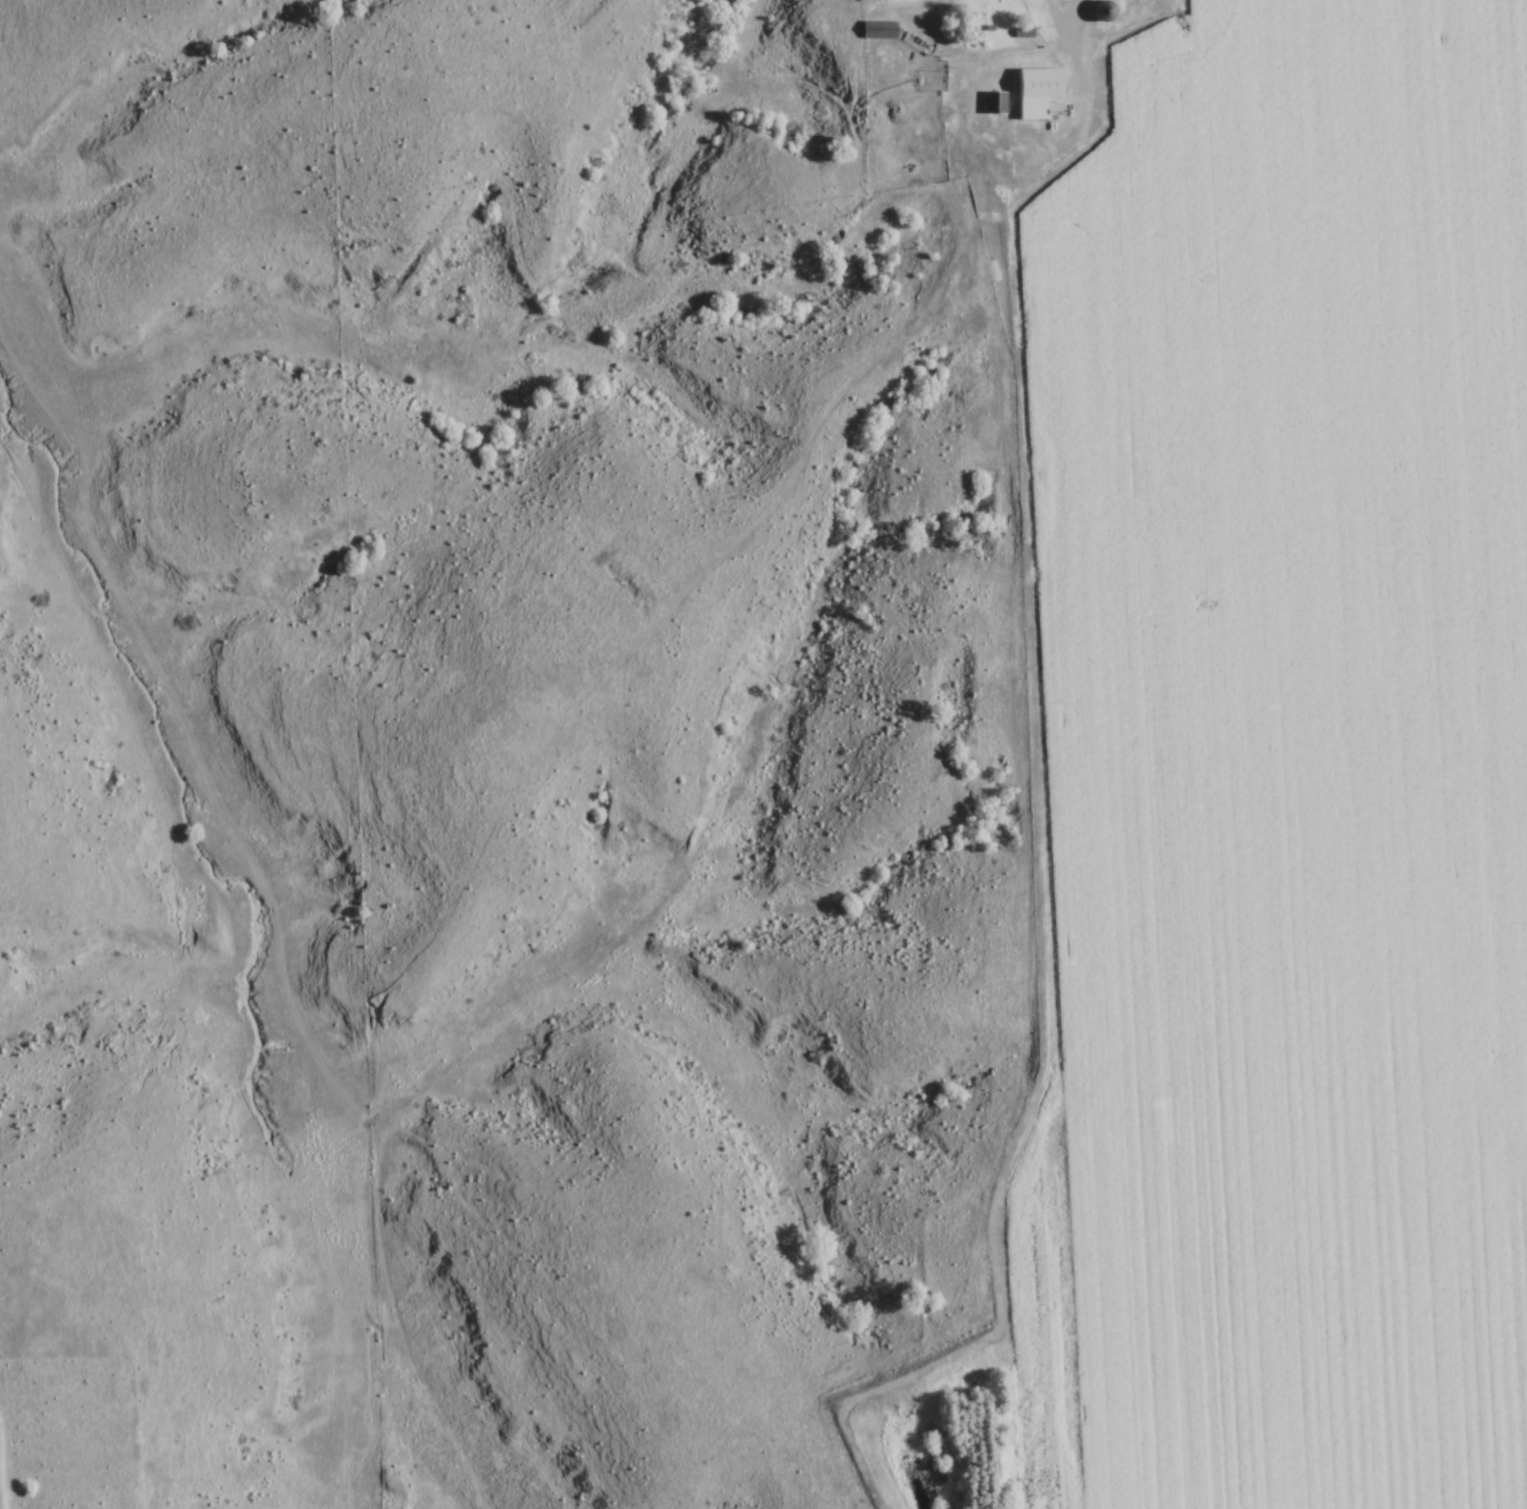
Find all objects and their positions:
road: (1079, 4)
building: (1100, 12)
building: (876, 30)
building: (1037, 95)
building: (992, 103)

